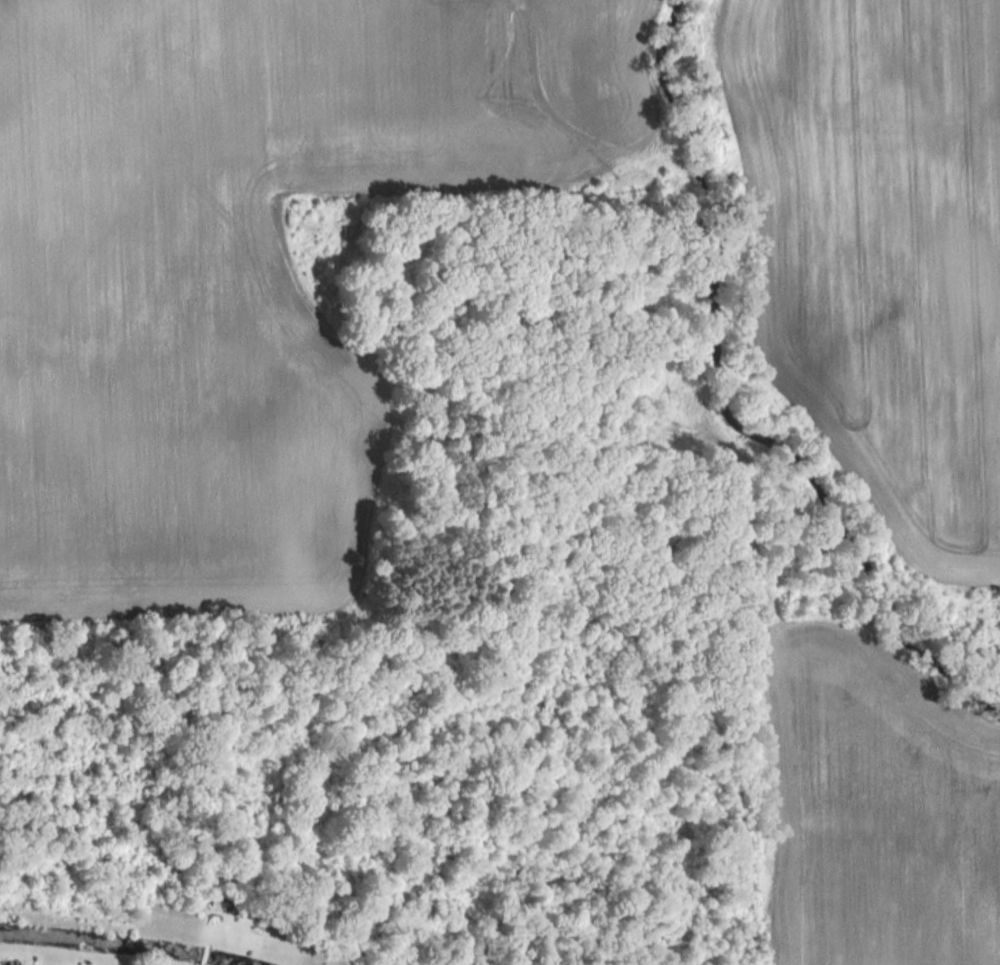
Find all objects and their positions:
crop: (879, 250)
crop: (242, 272)
crop: (876, 806)

